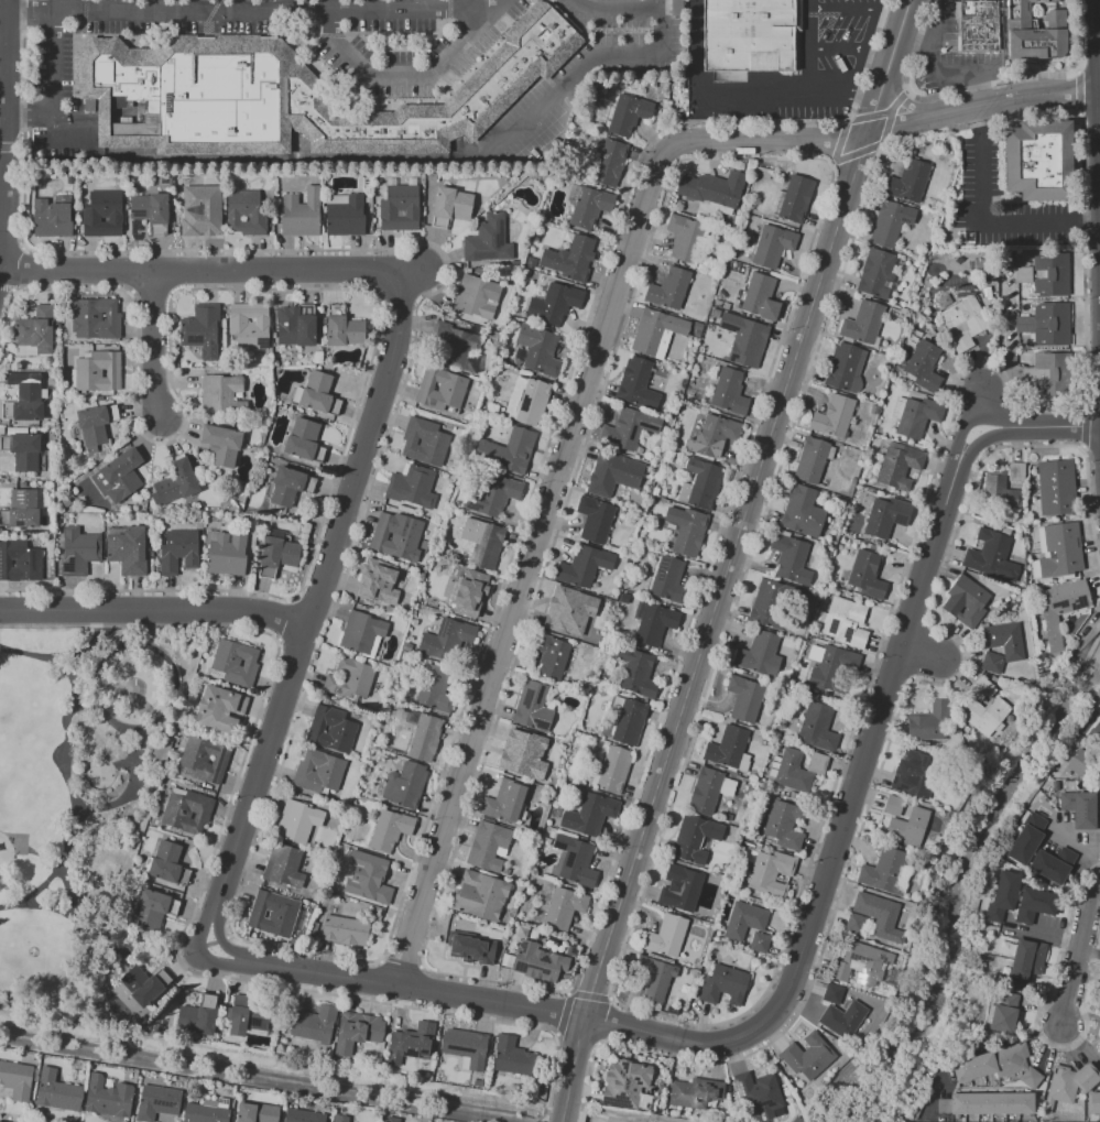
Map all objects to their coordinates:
road: (460, 4)
road: (478, 4)
road: (327, 6)
road: (369, 6)
road: (111, 7)
road: (154, 7)
road: (197, 7)
road: (241, 7)
road: (284, 7)
road: (1097, 7)
road: (486, 9)
road: (616, 10)
road: (842, 10)
road: (230, 13)
building: (978, 25)
building: (1035, 31)
building: (751, 35)
road: (1079, 35)
road: (913, 42)
road: (808, 46)
road: (863, 46)
road: (836, 50)
parking lot: (831, 52)
road: (1098, 53)
road: (585, 65)
parking lot: (396, 66)
road: (932, 67)
road: (397, 70)
road: (1077, 70)
parking lot: (588, 73)
road: (54, 91)
road: (1078, 91)
road: (1099, 94)
road: (740, 95)
building: (292, 96)
building: (628, 113)
road: (1077, 113)
road: (2, 120)
road: (980, 122)
road: (884, 129)
road: (1099, 137)
building: (1038, 159)
building: (609, 162)
building: (431, 176)
building: (908, 182)
building: (712, 188)
building: (796, 198)
building: (400, 206)
building: (450, 206)
building: (589, 207)
building: (198, 209)
building: (150, 210)
building: (244, 213)
building: (301, 213)
building: (102, 214)
building: (346, 216)
building: (53, 217)
building: (890, 222)
road: (998, 225)
building: (685, 237)
building: (488, 240)
building: (772, 246)
building: (570, 258)
road: (1082, 260)
road: (207, 269)
building: (875, 272)
building: (1021, 274)
building: (1050, 274)
building: (668, 287)
building: (476, 296)
building: (760, 296)
building: (553, 303)
building: (95, 318)
building: (862, 322)
building: (965, 322)
building: (1046, 324)
building: (249, 325)
building: (200, 327)
building: (298, 327)
building: (342, 327)
building: (655, 329)
building: (34, 333)
road: (152, 339)
building: (744, 339)
building: (451, 344)
building: (538, 349)
building: (884, 360)
building: (924, 366)
building: (845, 367)
building: (97, 371)
building: (1049, 373)
building: (636, 383)
building: (440, 390)
building: (729, 391)
building: (319, 393)
building: (221, 394)
road: (981, 396)
building: (526, 401)
building: (24, 404)
building: (834, 415)
building: (915, 415)
road: (969, 421)
building: (95, 424)
road: (1085, 425)
road: (1059, 426)
building: (629, 428)
building: (716, 435)
building: (303, 439)
building: (424, 440)
road: (981, 443)
building: (222, 444)
road: (1082, 448)
building: (22, 449)
road: (360, 449)
building: (508, 450)
building: (812, 459)
building: (898, 465)
building: (607, 472)
building: (1015, 472)
building: (119, 475)
building: (178, 480)
building: (288, 484)
building: (700, 484)
building: (412, 487)
building: (1056, 487)
building: (999, 491)
building: (491, 493)
building: (23, 508)
building: (802, 510)
road: (1088, 510)
building: (886, 515)
building: (595, 519)
building: (689, 533)
building: (394, 536)
building: (482, 542)
building: (127, 549)
building: (1061, 549)
building: (78, 551)
building: (177, 551)
building: (225, 553)
road: (734, 554)
building: (276, 555)
building: (991, 556)
building: (791, 557)
building: (19, 562)
road: (531, 564)
building: (584, 566)
building: (867, 574)
building: (668, 580)
building: (378, 581)
building: (471, 592)
building: (771, 601)
building: (967, 601)
road: (154, 607)
building: (559, 608)
building: (1060, 608)
building: (842, 613)
building: (655, 624)
building: (361, 632)
building: (850, 634)
building: (446, 639)
building: (1005, 640)
road: (924, 651)
building: (760, 654)
building: (551, 655)
road: (129, 656)
building: (235, 663)
building: (991, 663)
building: (831, 665)
building: (636, 672)
road: (175, 677)
building: (350, 680)
building: (435, 688)
building: (981, 688)
building: (744, 697)
building: (533, 707)
building: (218, 709)
building: (984, 715)
building: (629, 721)
building: (930, 723)
building: (818, 727)
building: (330, 729)
building: (1094, 732)
building: (423, 734)
building: (729, 748)
building: (524, 754)
building: (1081, 758)
building: (205, 759)
road: (261, 759)
road: (133, 761)
building: (816, 762)
road: (122, 763)
road: (63, 765)
building: (613, 769)
building: (317, 771)
building: (792, 771)
building: (915, 774)
building: (405, 784)
park: (75, 787)
building: (709, 789)
building: (504, 802)
building: (893, 805)
building: (1079, 807)
building: (1099, 809)
building: (187, 811)
building: (589, 814)
building: (297, 820)
building: (784, 824)
building: (907, 827)
building: (390, 829)
building: (695, 837)
building: (1027, 837)
building: (488, 845)
road: (1079, 845)
road: (40, 856)
building: (574, 860)
building: (167, 863)
building: (1052, 864)
building: (283, 865)
building: (883, 871)
building: (771, 872)
building: (373, 881)
building: (684, 886)
building: (480, 895)
building: (1002, 896)
building: (1035, 905)
building: (153, 908)
building: (564, 908)
road: (66, 912)
road: (217, 914)
building: (271, 914)
building: (880, 914)
building: (744, 919)
building: (856, 923)
road: (202, 924)
building: (346, 929)
building: (666, 935)
road: (1042, 935)
building: (759, 941)
road: (140, 948)
building: (472, 950)
road: (1076, 950)
road: (237, 954)
building: (1026, 959)
building: (538, 961)
building: (860, 962)
road: (226, 965)
building: (652, 978)
building: (146, 984)
building: (723, 984)
building: (831, 993)
road: (784, 996)
building: (1099, 1005)
building: (248, 1013)
building: (1003, 1013)
building: (198, 1015)
building: (842, 1018)
building: (314, 1023)
building: (357, 1031)
building: (1099, 1037)
building: (411, 1043)
road: (1080, 1045)
building: (465, 1046)
road: (992, 1046)
building: (512, 1056)
building: (808, 1057)
building: (998, 1065)
building: (17, 1080)
building: (625, 1083)
building: (1068, 1083)
building: (57, 1092)
building: (695, 1092)
building: (760, 1093)
building: (108, 1097)
building: (157, 1102)
building: (1093, 1102)
building: (991, 1103)
building: (941, 1104)
building: (207, 1112)
building: (257, 1112)
building: (303, 1115)
road: (562, 1115)
building: (340, 1118)
building: (392, 1119)
road: (560, 1121)

